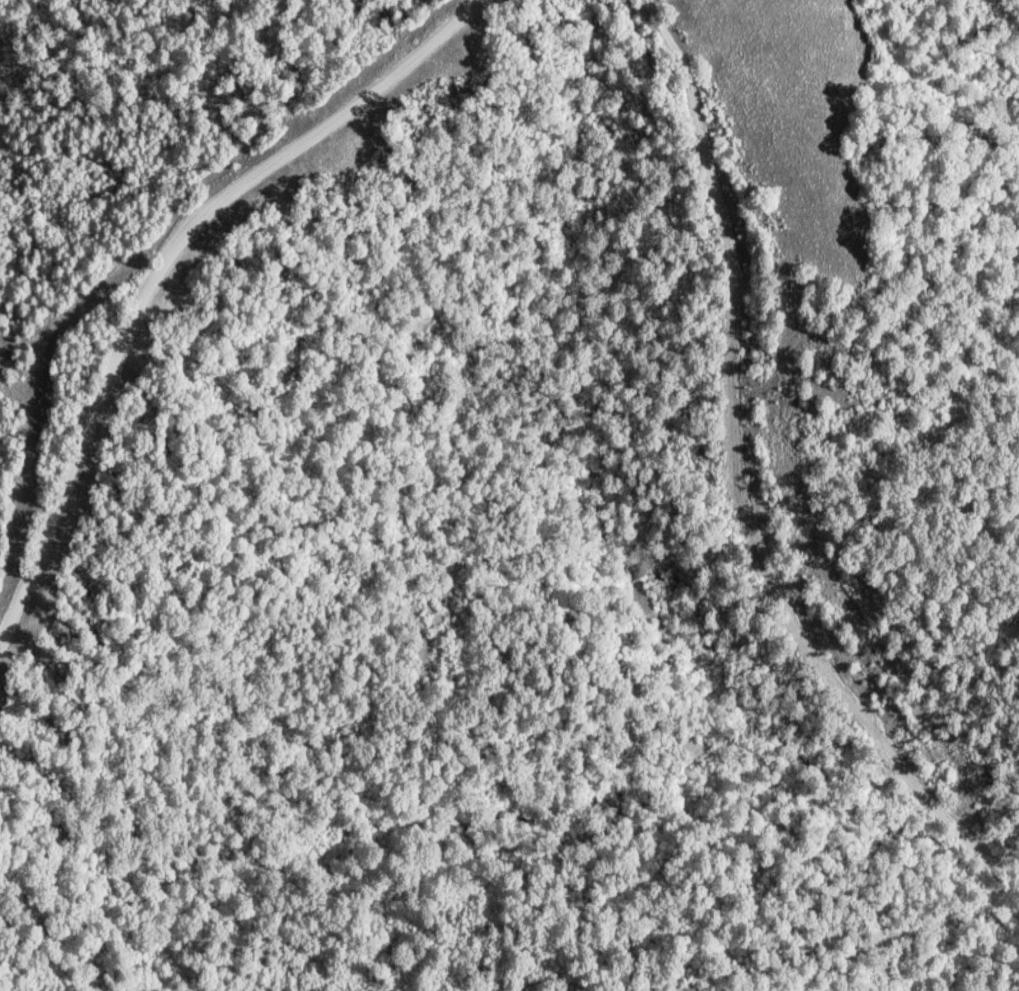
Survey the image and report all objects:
road: (170, 270)
road: (735, 439)

